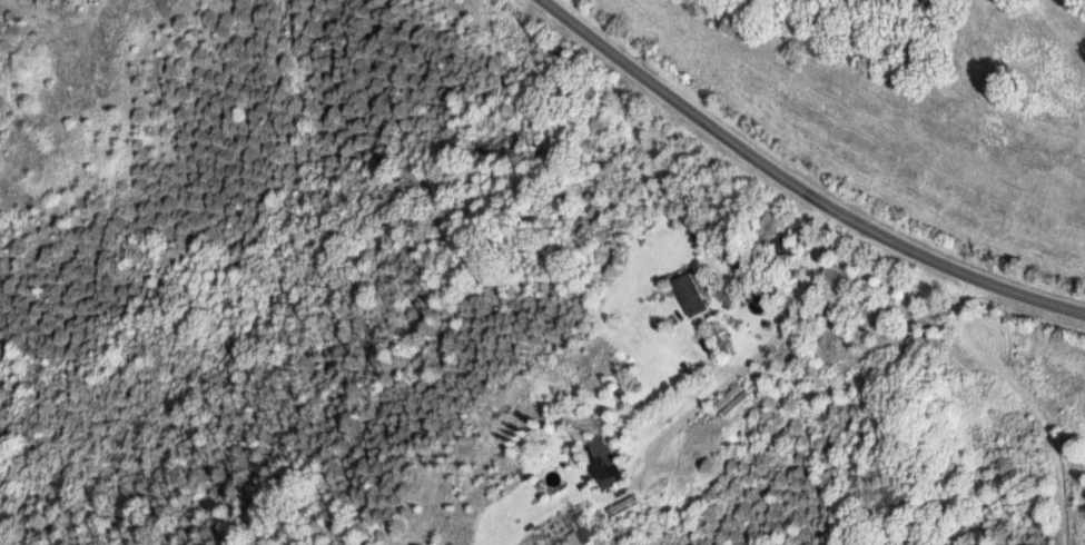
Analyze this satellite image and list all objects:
road: (792, 189)
building: (766, 232)
road: (811, 291)
building: (690, 295)
building: (601, 462)
road: (663, 525)
building: (579, 533)

